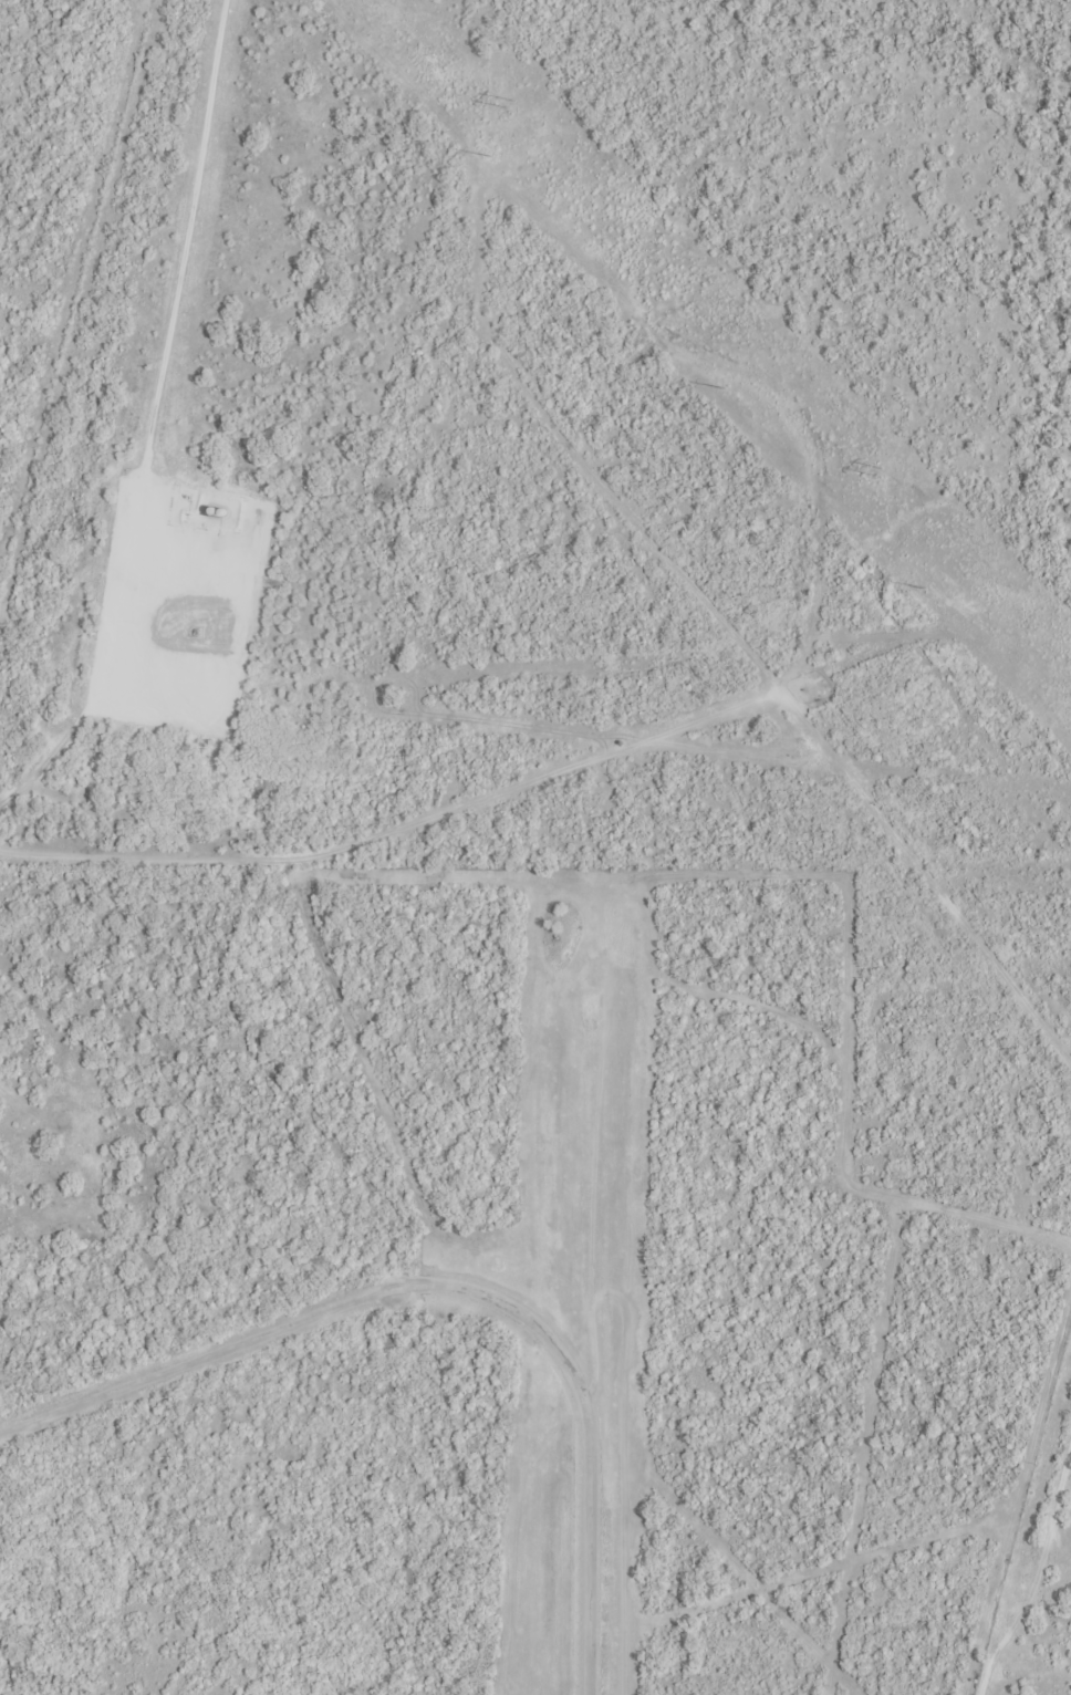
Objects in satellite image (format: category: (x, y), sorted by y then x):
power tower: (510, 104)
power tower: (492, 156)
power tower: (725, 392)
power tower: (877, 471)
power tower: (906, 571)
building: (3, 1017)
road: (450, 1288)

